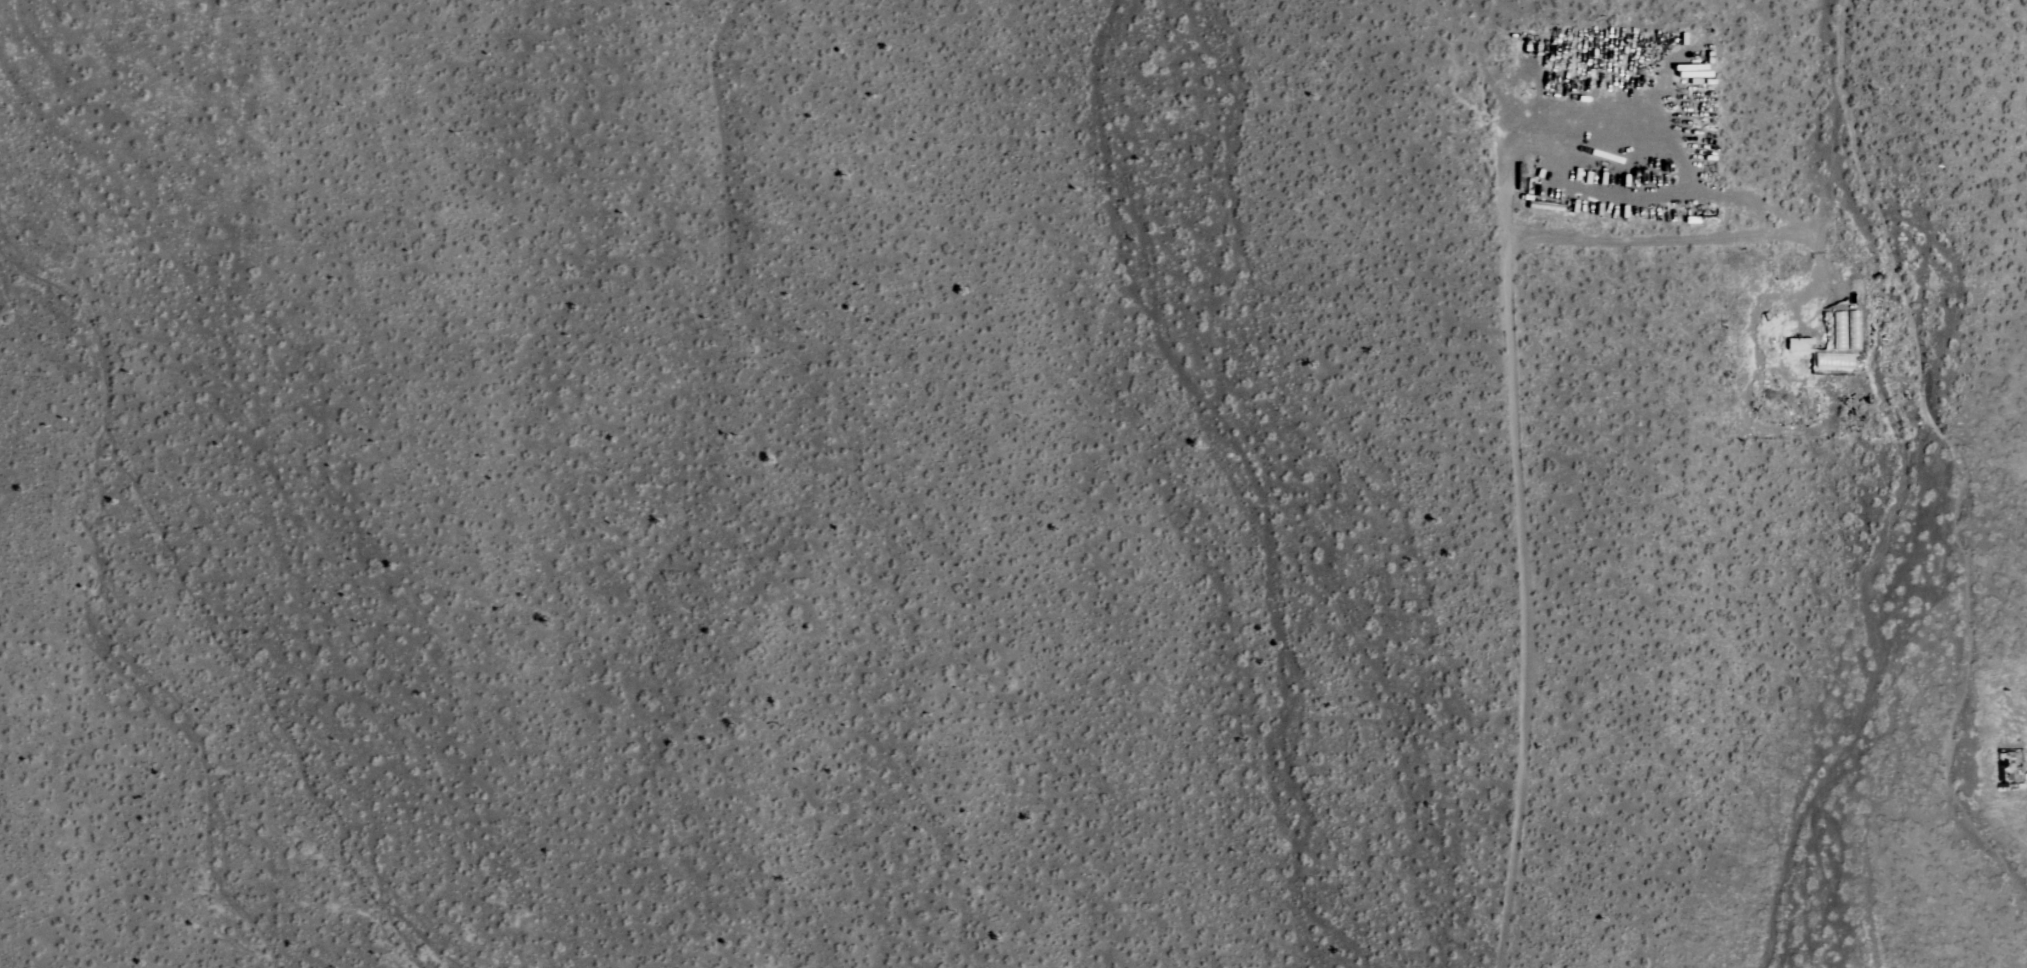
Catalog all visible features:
road: (1502, 121)
road: (1508, 299)
building: (1803, 344)

